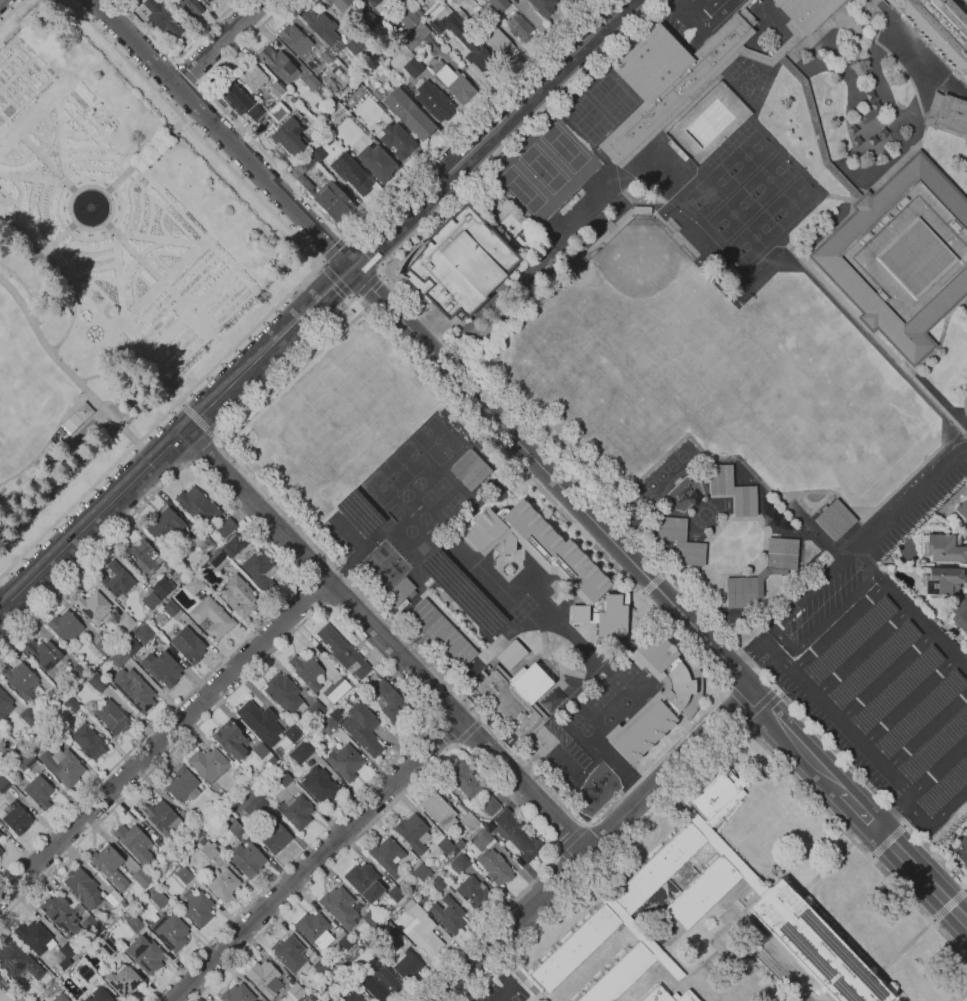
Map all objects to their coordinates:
building: (211, 0)
building: (207, 1)
road: (677, 2)
building: (340, 4)
building: (377, 4)
building: (499, 4)
building: (542, 7)
building: (188, 8)
road: (9, 9)
road: (692, 10)
building: (807, 12)
building: (460, 13)
parking lot: (694, 17)
building: (161, 18)
building: (409, 19)
building: (368, 20)
building: (319, 25)
building: (518, 26)
building: (939, 27)
building: (402, 29)
building: (419, 32)
building: (295, 39)
road: (885, 41)
road: (219, 42)
building: (466, 43)
building: (499, 43)
building: (354, 45)
building: (327, 55)
road: (774, 57)
road: (177, 59)
road: (892, 60)
building: (279, 63)
building: (414, 68)
park: (749, 71)
road: (922, 73)
building: (251, 77)
building: (669, 80)
building: (311, 82)
building: (455, 84)
park: (601, 87)
park: (744, 87)
building: (279, 92)
road: (861, 92)
building: (377, 93)
building: (233, 97)
park: (611, 97)
building: (434, 101)
park: (621, 107)
building: (932, 109)
park: (577, 110)
building: (254, 112)
building: (278, 112)
building: (408, 114)
building: (952, 114)
park: (587, 120)
building: (814, 122)
road: (934, 127)
road: (816, 129)
park: (597, 130)
road: (221, 133)
road: (487, 133)
building: (290, 136)
road: (966, 138)
building: (396, 140)
building: (317, 151)
park: (746, 155)
road: (144, 156)
road: (901, 161)
building: (307, 162)
building: (376, 162)
road: (50, 165)
park: (542, 171)
building: (349, 175)
park: (768, 178)
park: (710, 190)
building: (332, 201)
park: (790, 201)
fountain: (90, 206)
road: (69, 207)
fountain: (90, 207)
building: (642, 210)
park: (731, 214)
park: (504, 219)
road: (351, 235)
park: (754, 236)
road: (59, 237)
road: (351, 237)
road: (346, 238)
road: (131, 250)
road: (366, 250)
building: (901, 255)
park: (108, 262)
road: (379, 263)
building: (458, 264)
traffic signals: (350, 267)
road: (327, 268)
road: (379, 273)
road: (64, 275)
road: (367, 287)
road: (25, 289)
road: (293, 292)
road: (354, 295)
road: (313, 302)
road: (965, 308)
road: (875, 340)
road: (946, 344)
park: (640, 352)
road: (256, 359)
road: (62, 364)
road: (209, 405)
building: (77, 417)
road: (156, 429)
road: (211, 439)
park: (436, 440)
road: (539, 441)
road: (169, 443)
building: (483, 443)
road: (201, 448)
park: (681, 455)
road: (186, 464)
building: (464, 465)
park: (671, 465)
park: (403, 467)
park: (661, 475)
building: (475, 476)
park: (418, 483)
park: (650, 485)
park: (441, 486)
park: (378, 490)
building: (732, 490)
park: (405, 494)
park: (428, 498)
track: (688, 498)
road: (910, 498)
park: (456, 501)
building: (197, 505)
building: (962, 509)
building: (358, 512)
park: (444, 513)
park: (422, 517)
building: (770, 519)
building: (835, 519)
road: (91, 520)
flagpole: (730, 523)
building: (164, 526)
building: (225, 527)
road: (599, 527)
park: (409, 530)
building: (201, 540)
building: (680, 541)
building: (212, 546)
building: (234, 546)
building: (943, 546)
road: (359, 548)
park: (422, 548)
building: (782, 553)
building: (141, 558)
building: (217, 560)
building: (550, 562)
building: (260, 569)
road: (297, 580)
building: (116, 581)
building: (942, 581)
road: (652, 584)
building: (194, 585)
building: (162, 587)
building: (399, 592)
building: (741, 592)
road: (311, 593)
building: (461, 593)
building: (237, 595)
building: (151, 601)
park: (527, 604)
building: (92, 606)
building: (170, 608)
building: (959, 616)
building: (212, 618)
building: (160, 619)
building: (127, 624)
building: (65, 626)
road: (840, 627)
road: (926, 627)
building: (143, 632)
building: (442, 634)
building: (850, 640)
road: (385, 642)
building: (188, 644)
road: (363, 645)
building: (102, 646)
building: (343, 652)
road: (793, 652)
building: (42, 653)
building: (509, 654)
road: (865, 654)
building: (119, 657)
building: (873, 664)
building: (162, 668)
building: (306, 670)
building: (80, 671)
park: (627, 672)
road: (886, 677)
building: (20, 681)
building: (97, 682)
park: (616, 682)
parking lot: (877, 685)
road: (728, 688)
building: (133, 689)
road: (730, 689)
building: (336, 690)
building: (897, 690)
park: (604, 693)
building: (54, 694)
building: (284, 694)
building: (516, 695)
building: (552, 699)
road: (764, 700)
building: (389, 702)
road: (910, 702)
park: (624, 703)
building: (654, 703)
park: (594, 704)
building: (4, 705)
building: (71, 705)
road: (747, 705)
building: (316, 709)
building: (58, 713)
building: (920, 715)
building: (28, 717)
building: (111, 717)
road: (838, 718)
park: (608, 719)
park: (575, 720)
building: (260, 722)
road: (741, 722)
building: (328, 726)
building: (362, 729)
road: (467, 729)
park: (585, 729)
building: (49, 734)
building: (292, 734)
road: (927, 734)
road: (162, 739)
building: (230, 739)
building: (88, 742)
road: (452, 745)
building: (935, 746)
road: (717, 747)
building: (260, 750)
building: (276, 752)
building: (301, 752)
building: (25, 759)
building: (272, 761)
building: (344, 762)
parking lot: (561, 763)
building: (208, 764)
building: (63, 766)
building: (276, 767)
road: (938, 769)
building: (235, 775)
building: (462, 777)
building: (283, 778)
building: (3, 783)
building: (320, 784)
building: (183, 785)
building: (944, 788)
building: (251, 789)
building: (39, 791)
building: (715, 793)
building: (255, 806)
building: (491, 806)
building: (437, 809)
road: (859, 810)
building: (297, 812)
building: (161, 817)
building: (17, 818)
building: (469, 820)
road: (938, 820)
building: (231, 824)
building: (488, 827)
road: (701, 831)
building: (197, 832)
building: (0, 834)
building: (420, 835)
building: (517, 835)
road: (571, 836)
building: (274, 837)
building: (482, 840)
road: (887, 842)
road: (596, 843)
building: (136, 845)
building: (721, 848)
road: (722, 849)
building: (209, 850)
building: (0, 851)
building: (961, 851)
building: (167, 855)
building: (387, 856)
building: (247, 859)
road: (314, 860)
building: (459, 863)
building: (109, 864)
road: (733, 864)
building: (955, 864)
building: (495, 867)
building: (659, 868)
road: (825, 868)
building: (421, 872)
building: (183, 875)
road: (921, 876)
building: (142, 877)
building: (364, 882)
building: (437, 884)
building: (223, 885)
building: (83, 887)
building: (410, 890)
building: (473, 892)
building: (702, 892)
building: (157, 896)
building: (397, 896)
building: (114, 897)
building: (410, 902)
building: (123, 903)
road: (948, 905)
building: (339, 907)
building: (197, 908)
road: (616, 909)
building: (61, 913)
building: (448, 914)
building: (127, 915)
building: (371, 920)
building: (135, 923)
building: (88, 924)
road: (838, 925)
building: (619, 927)
building: (100, 928)
building: (314, 929)
road: (633, 929)
building: (171, 930)
building: (422, 932)
building: (639, 933)
building: (385, 934)
building: (35, 936)
building: (344, 940)
building: (106, 945)
building: (815, 946)
road: (649, 948)
building: (575, 949)
road: (902, 950)
building: (289, 953)
building: (66, 954)
building: (146, 954)
building: (17, 960)
building: (406, 966)
building: (322, 969)
flagpole: (903, 969)
building: (85, 971)
building: (620, 975)
building: (264, 979)
road: (507, 979)
building: (123, 981)
building: (3, 983)
building: (376, 984)
building: (296, 990)
building: (237, 993)
building: (99, 995)
building: (315, 996)
building: (667, 996)
road: (962, 996)
building: (60, 997)
building: (352, 997)
building: (371, 1000)

